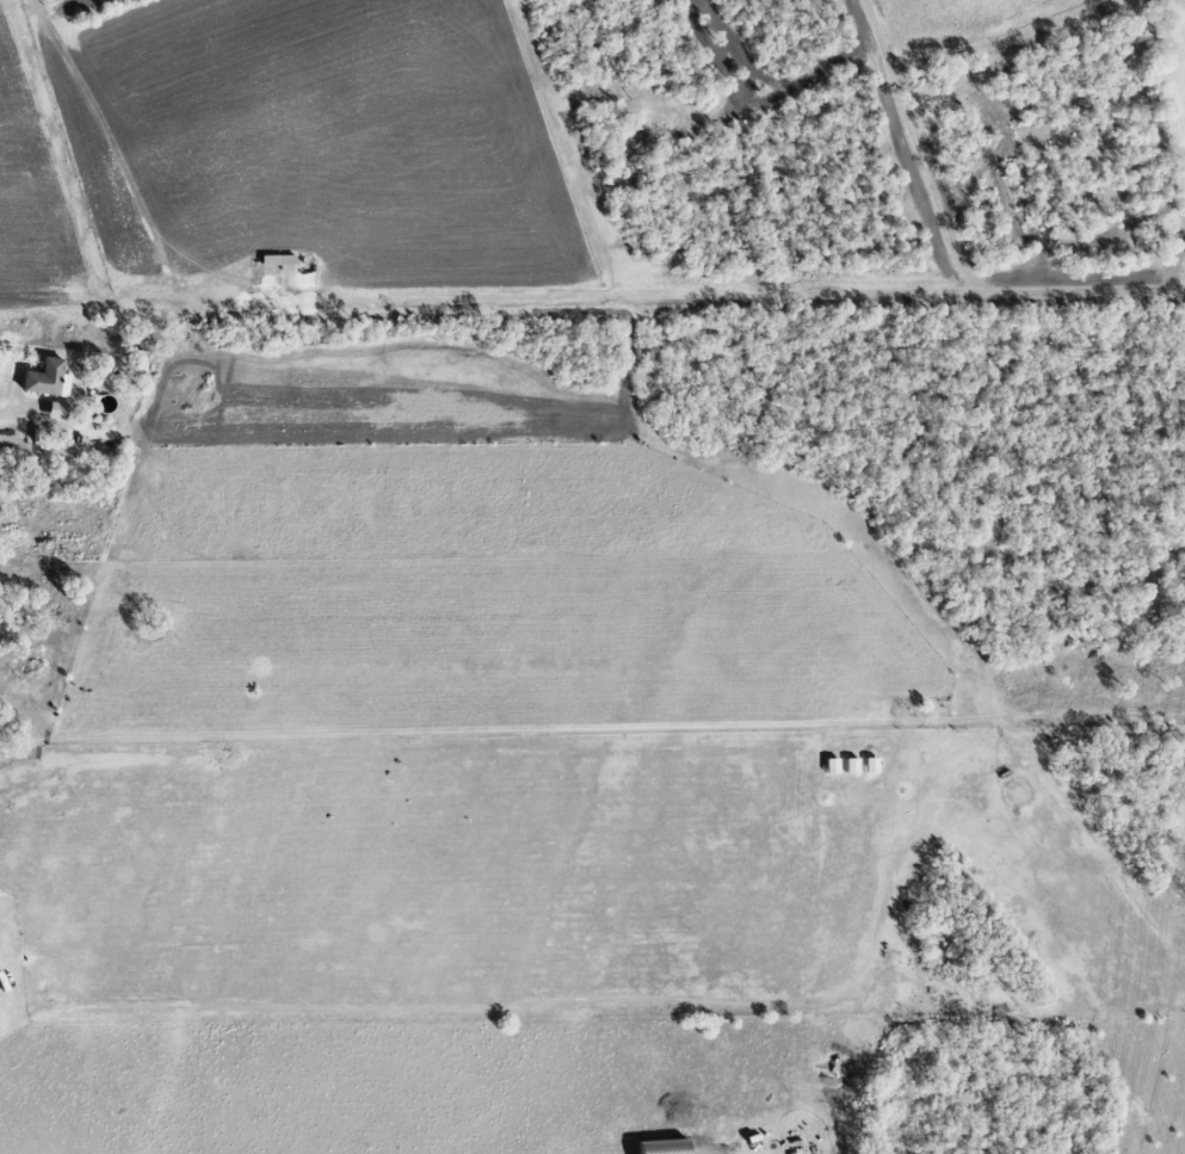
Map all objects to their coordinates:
building: (48, 379)
road: (14, 414)
building: (832, 766)
power tower: (1184, 890)
building: (662, 1147)
building: (794, 1147)

